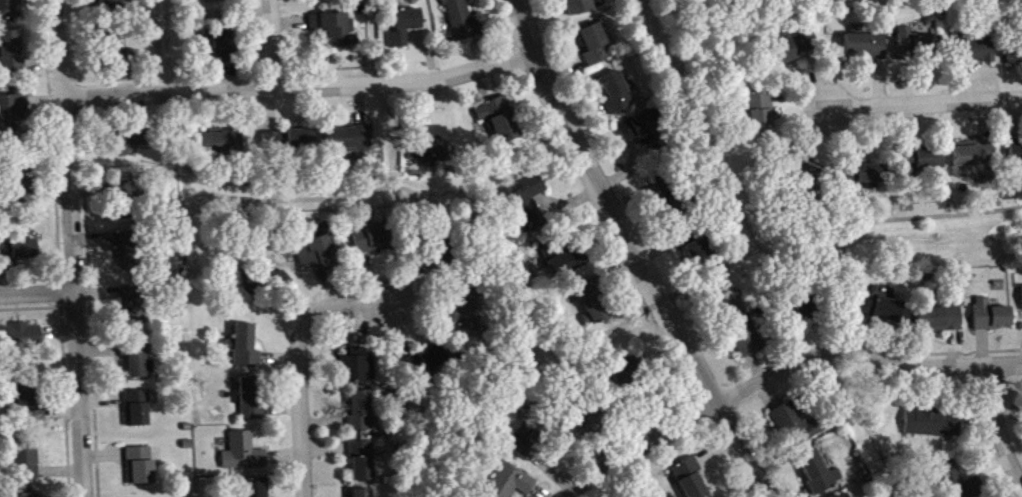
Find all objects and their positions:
building: (216, 0)
building: (111, 5)
building: (582, 7)
building: (8, 10)
building: (463, 21)
building: (406, 28)
building: (334, 29)
road: (274, 43)
road: (165, 46)
building: (223, 46)
building: (918, 46)
building: (597, 47)
building: (796, 48)
building: (866, 48)
building: (979, 52)
building: (11, 53)
building: (122, 53)
building: (1015, 56)
road: (300, 86)
building: (617, 94)
road: (386, 95)
road: (926, 102)
building: (14, 114)
building: (761, 115)
building: (501, 121)
building: (645, 133)
building: (302, 140)
building: (274, 141)
building: (239, 142)
building: (352, 142)
building: (127, 143)
building: (214, 146)
building: (429, 147)
building: (1017, 156)
road: (716, 159)
building: (974, 160)
building: (924, 163)
building: (872, 176)
building: (21, 180)
road: (464, 193)
building: (127, 202)
building: (527, 203)
road: (866, 221)
building: (373, 240)
building: (695, 245)
road: (72, 248)
building: (19, 251)
road: (634, 251)
building: (131, 252)
building: (439, 252)
building: (319, 255)
building: (568, 261)
road: (722, 269)
building: (259, 283)
road: (37, 293)
building: (593, 303)
building: (881, 308)
building: (800, 310)
building: (470, 314)
building: (993, 317)
building: (941, 321)
building: (741, 330)
building: (21, 337)
road: (587, 346)
building: (245, 348)
road: (862, 351)
road: (928, 353)
building: (139, 361)
building: (431, 363)
road: (300, 366)
building: (359, 367)
building: (252, 400)
building: (31, 404)
building: (138, 410)
building: (362, 412)
building: (588, 422)
building: (796, 425)
road: (869, 426)
building: (933, 426)
road: (998, 426)
building: (527, 441)
road: (583, 444)
road: (640, 447)
building: (244, 455)
building: (28, 463)
building: (364, 463)
building: (141, 467)
building: (820, 473)
building: (691, 480)
building: (511, 483)
building: (961, 483)
building: (258, 489)
building: (363, 494)
building: (41, 496)
building: (848, 496)

